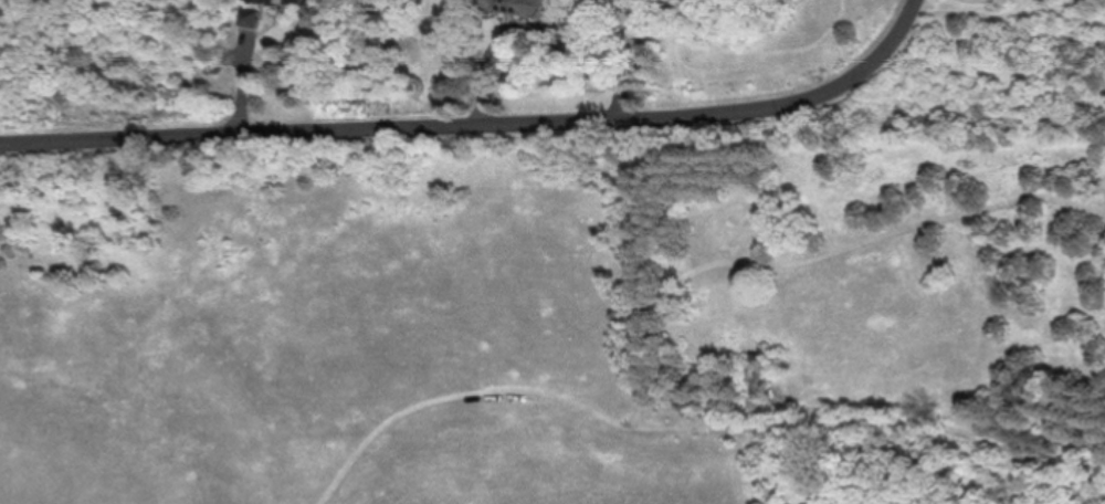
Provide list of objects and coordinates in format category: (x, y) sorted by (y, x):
building: (277, 1)
building: (526, 8)
road: (907, 14)
building: (251, 20)
road: (248, 59)
road: (463, 125)
road: (815, 259)
park: (557, 315)
road: (687, 431)
road: (992, 459)

